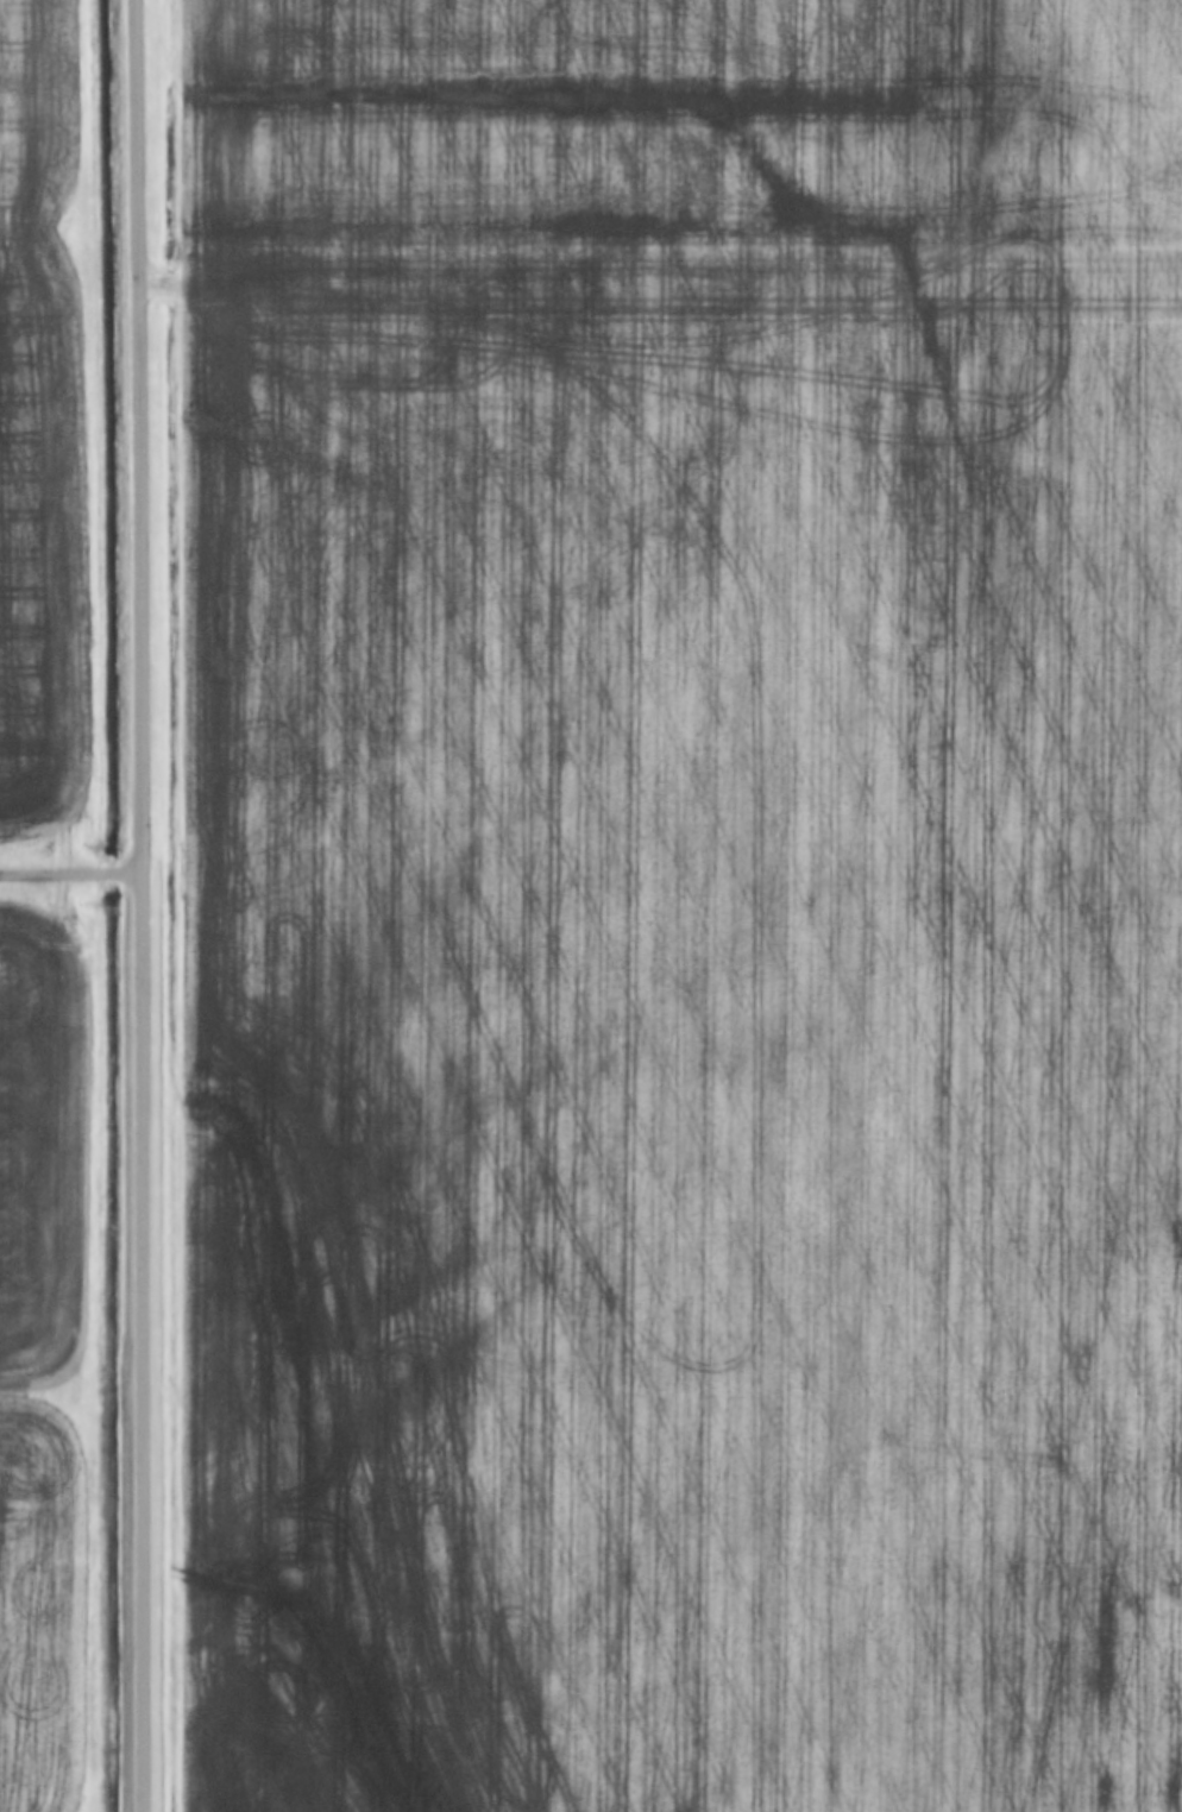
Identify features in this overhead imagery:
road: (74, 872)
road: (149, 905)

